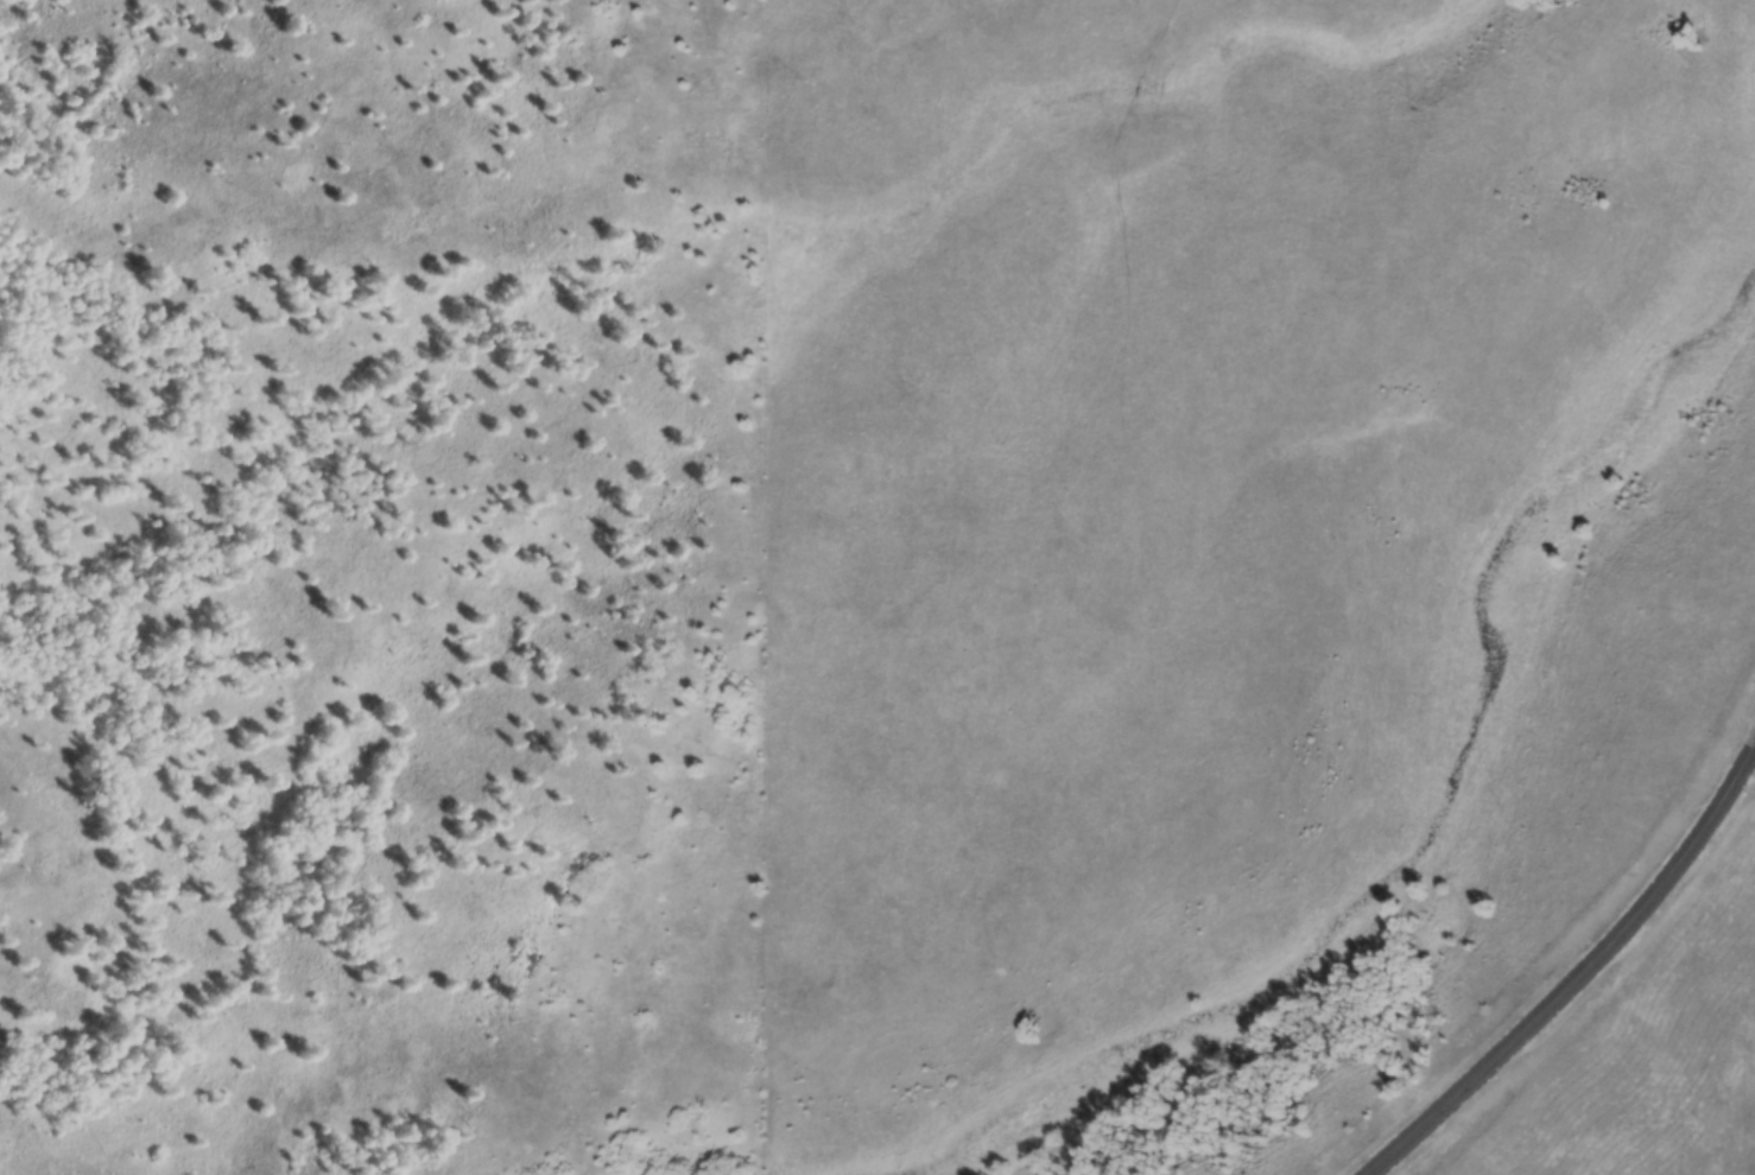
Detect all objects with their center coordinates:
road: (1580, 965)

